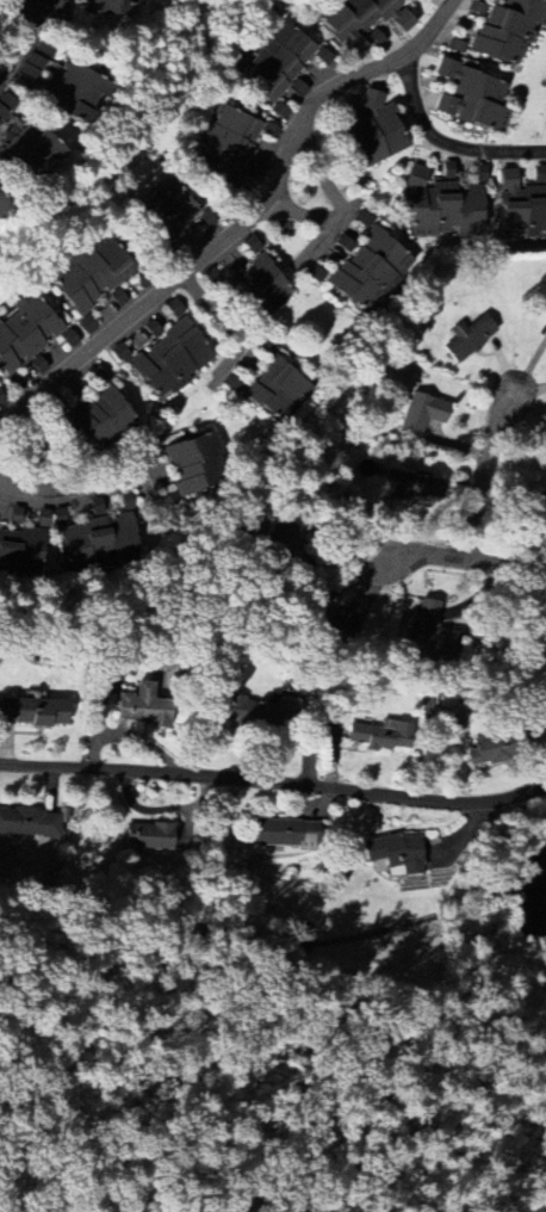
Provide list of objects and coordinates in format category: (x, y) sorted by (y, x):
building: (113, 8)
building: (57, 12)
building: (359, 20)
building: (508, 30)
building: (376, 39)
road: (18, 41)
building: (455, 48)
building: (273, 62)
building: (29, 73)
building: (297, 88)
building: (70, 94)
building: (470, 99)
building: (371, 130)
road: (446, 144)
building: (223, 147)
building: (27, 154)
building: (447, 172)
building: (479, 174)
road: (339, 206)
building: (441, 210)
building: (520, 210)
building: (163, 214)
road: (247, 221)
building: (345, 246)
building: (252, 247)
building: (364, 273)
building: (85, 279)
building: (255, 291)
road: (229, 329)
building: (24, 334)
building: (467, 339)
building: (120, 354)
building: (169, 359)
building: (269, 385)
building: (421, 415)
building: (98, 418)
road: (488, 462)
building: (193, 465)
road: (49, 470)
building: (403, 486)
road: (94, 487)
building: (15, 515)
building: (58, 518)
building: (99, 537)
building: (20, 554)
road: (451, 561)
building: (325, 626)
building: (436, 636)
building: (540, 642)
building: (143, 707)
building: (32, 712)
building: (254, 712)
building: (379, 736)
building: (485, 752)
road: (274, 785)
building: (29, 823)
building: (283, 835)
building: (147, 837)
building: (395, 854)

